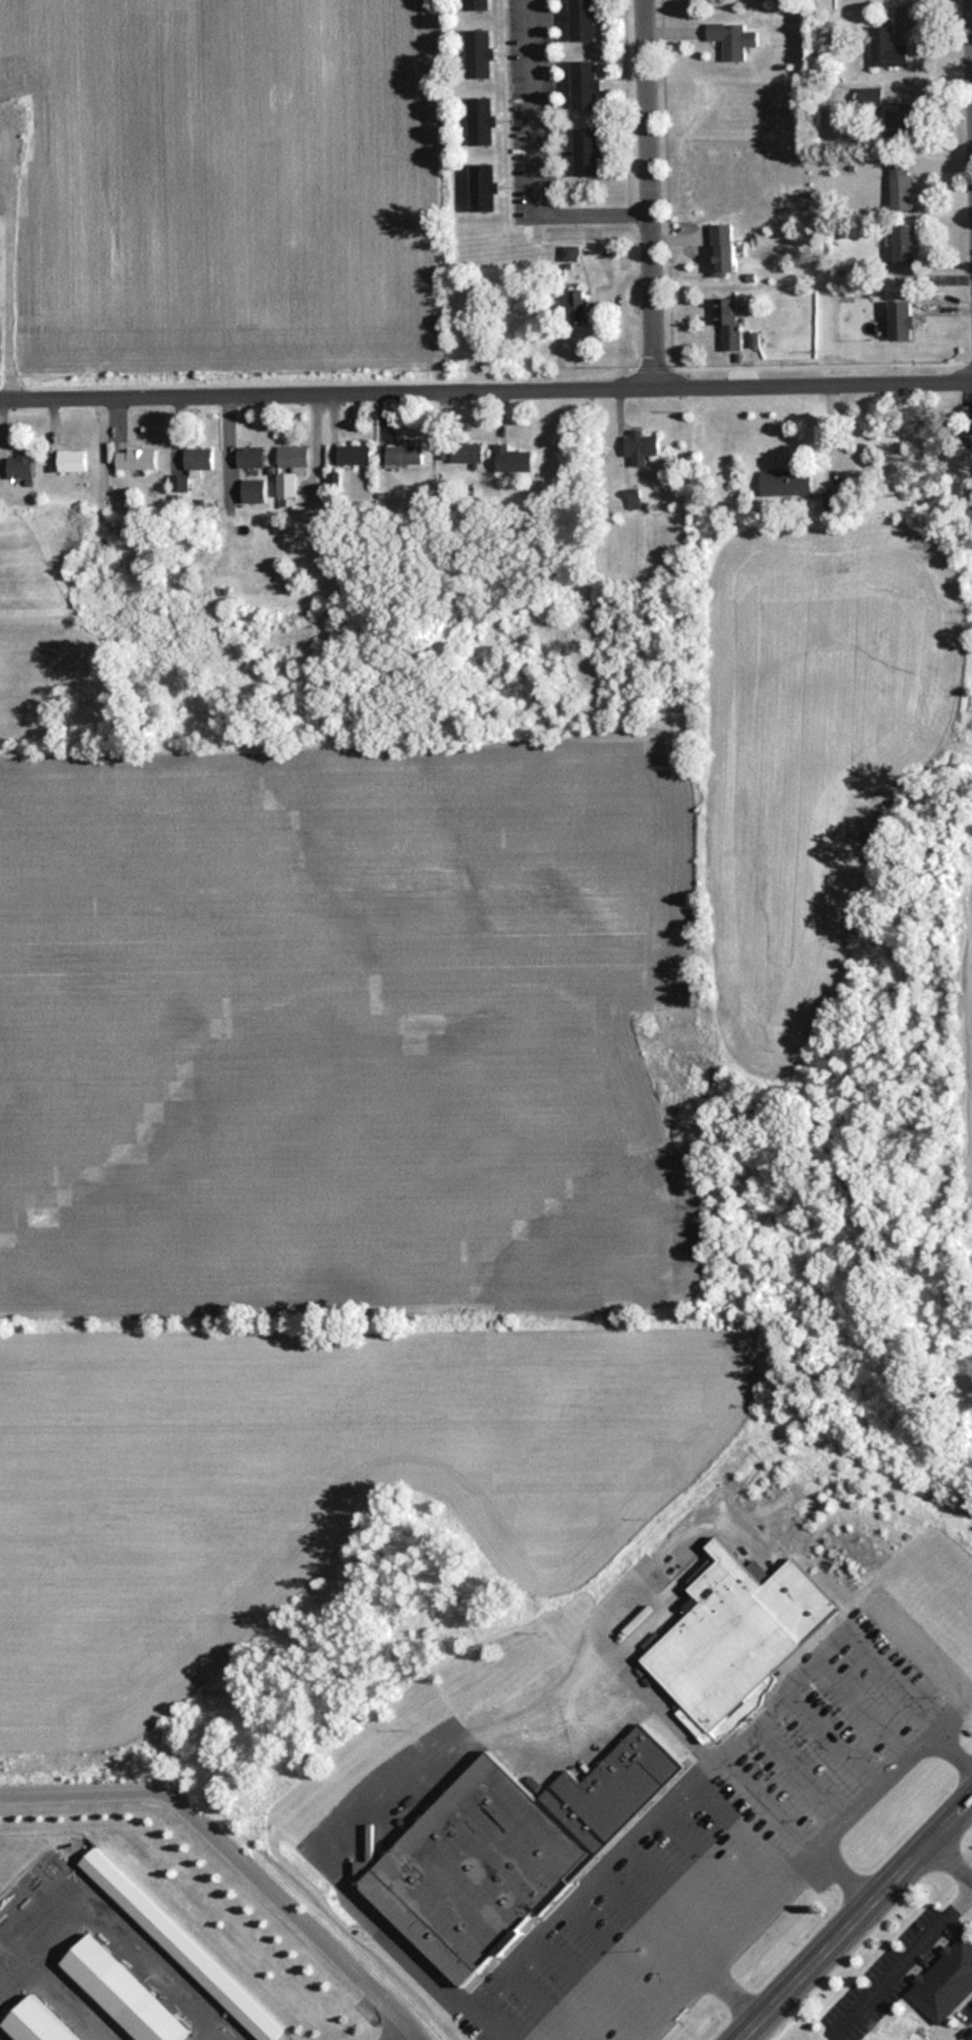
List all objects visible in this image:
building: (477, 4)
building: (585, 19)
building: (732, 39)
building: (885, 48)
building: (480, 52)
building: (586, 84)
building: (869, 98)
building: (482, 120)
building: (900, 120)
building: (588, 152)
road: (533, 158)
building: (899, 182)
building: (483, 187)
road: (645, 195)
building: (903, 243)
building: (723, 247)
building: (569, 252)
building: (579, 306)
building: (901, 320)
building: (728, 321)
road: (486, 394)
building: (967, 434)
building: (641, 447)
building: (467, 452)
building: (354, 454)
building: (404, 454)
building: (293, 456)
building: (251, 457)
building: (136, 458)
building: (198, 458)
building: (513, 459)
building: (72, 460)
building: (21, 465)
building: (785, 482)
building: (179, 483)
building: (286, 484)
building: (254, 490)
building: (830, 500)
building: (269, 593)
road: (865, 1611)
building: (738, 1639)
road: (908, 1701)
road: (791, 1830)
building: (506, 1852)
road: (234, 1856)
road: (950, 1860)
road: (853, 1914)
road: (127, 1932)
building: (179, 1945)
road: (678, 1948)
building: (944, 1980)
building: (121, 1991)
building: (35, 2022)
road: (391, 2031)

